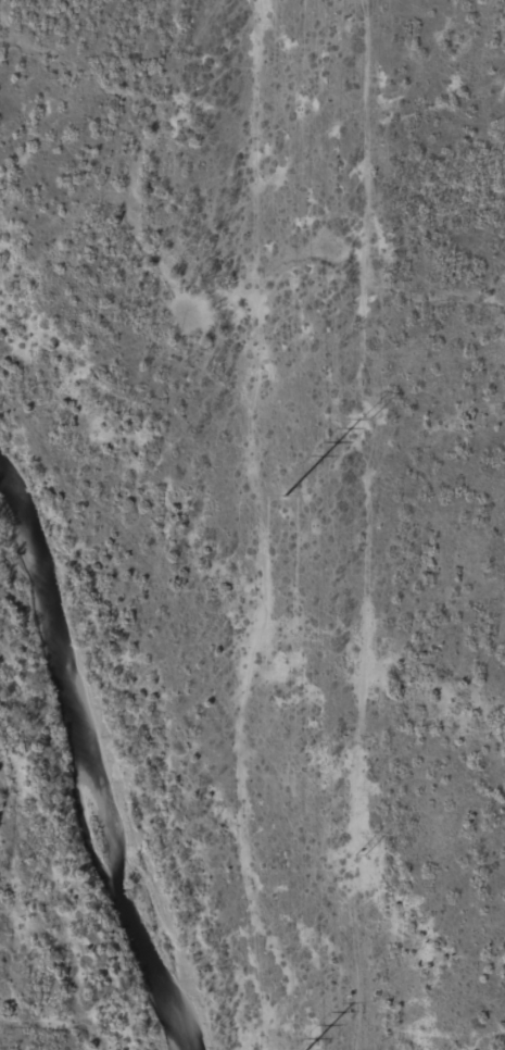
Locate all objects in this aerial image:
power tower: (366, 414)
power tower: (286, 496)
river: (84, 755)
power tower: (361, 852)

